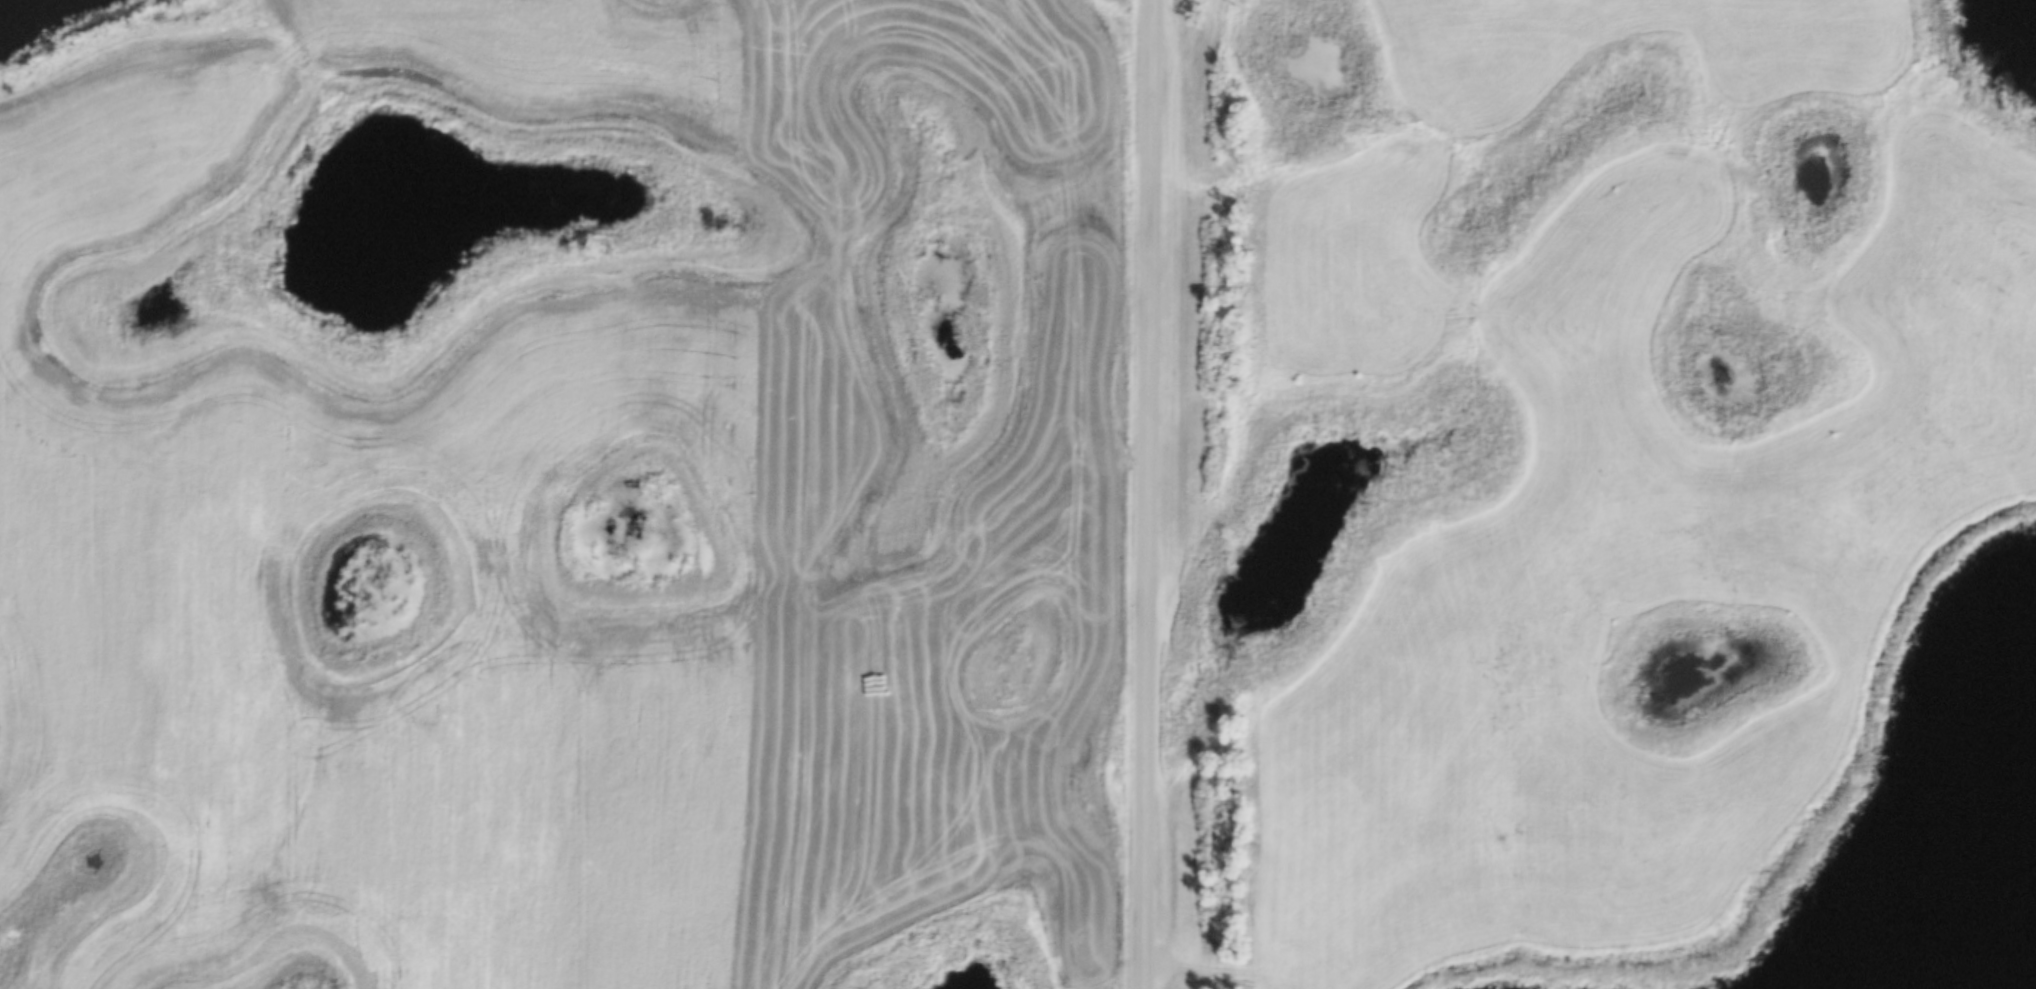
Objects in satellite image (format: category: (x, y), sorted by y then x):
road: (1155, 494)

